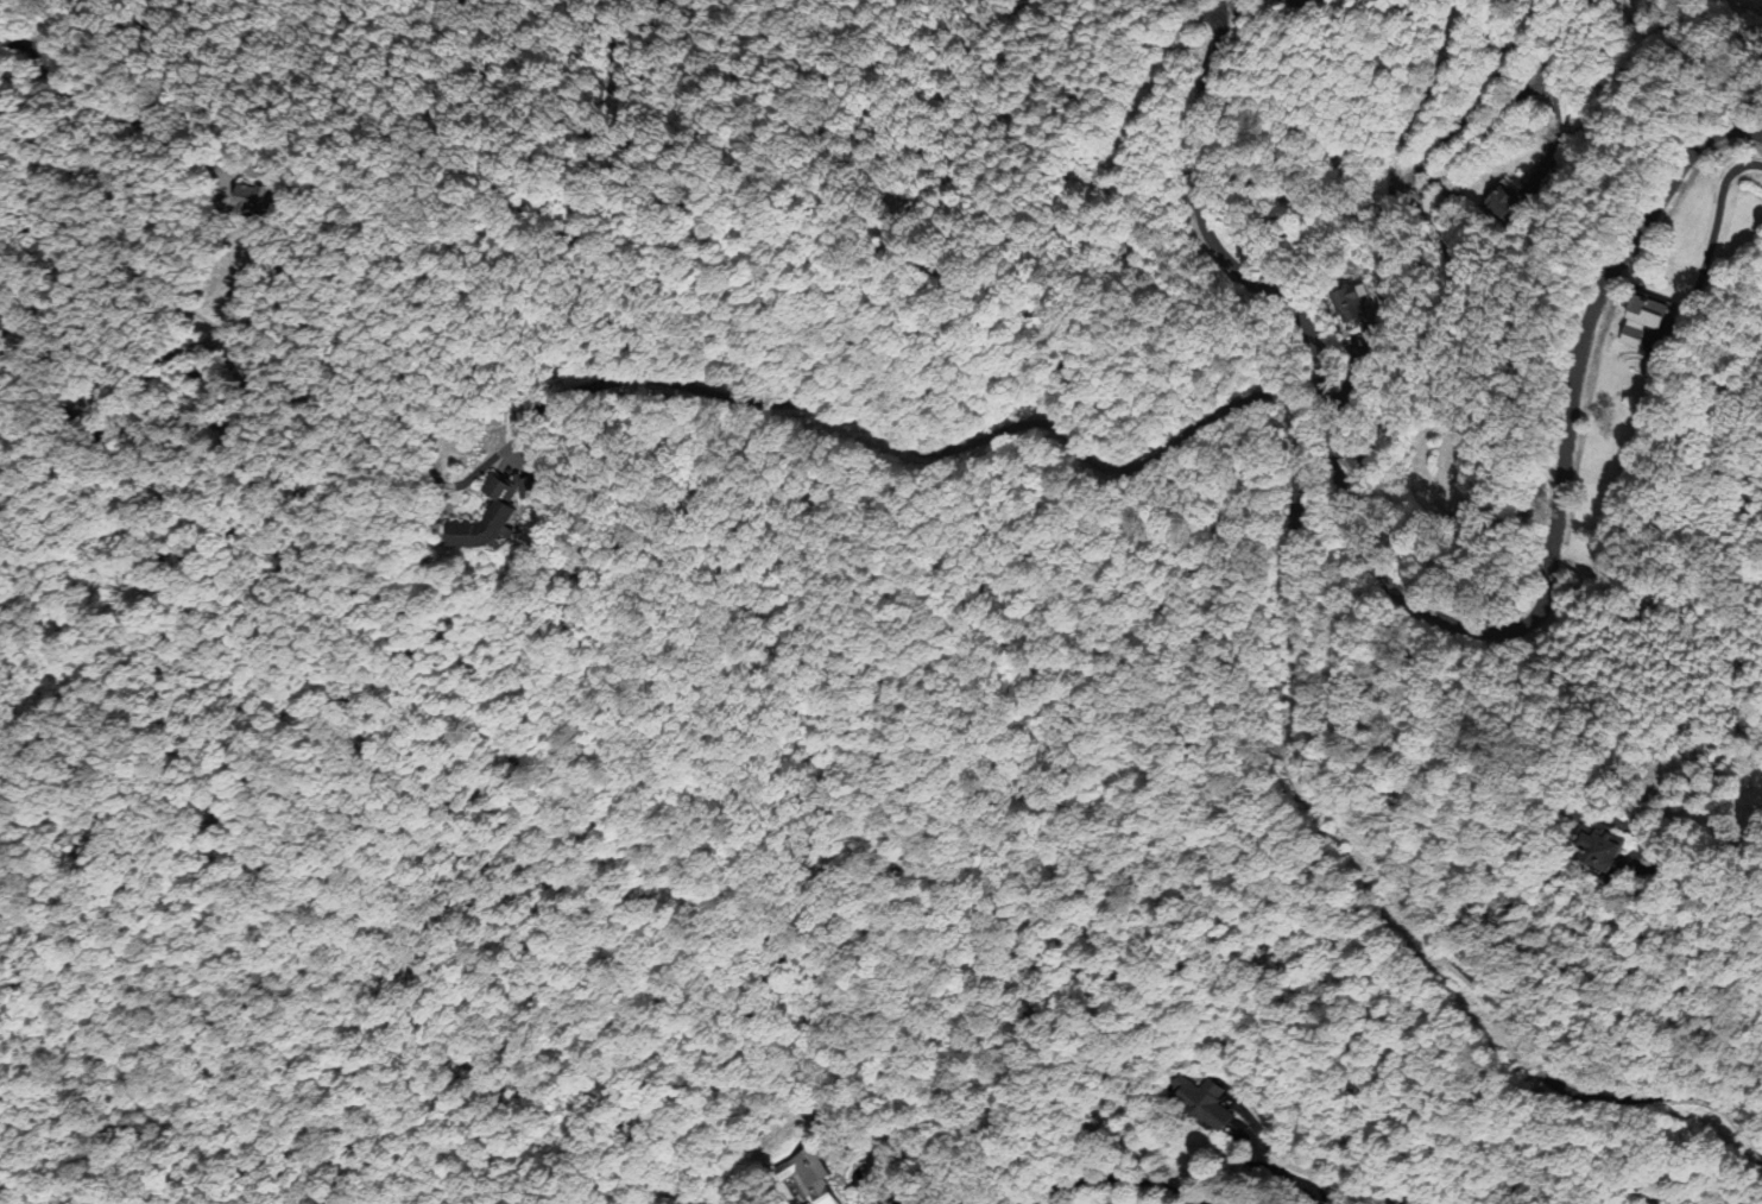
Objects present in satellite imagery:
road: (18, 46)
road: (132, 120)
building: (261, 201)
building: (1515, 206)
building: (1372, 309)
building: (1630, 322)
road: (1293, 479)
building: (491, 529)
road: (1432, 612)
building: (1568, 853)
building: (1194, 1102)
road: (1123, 1177)
building: (809, 1178)

